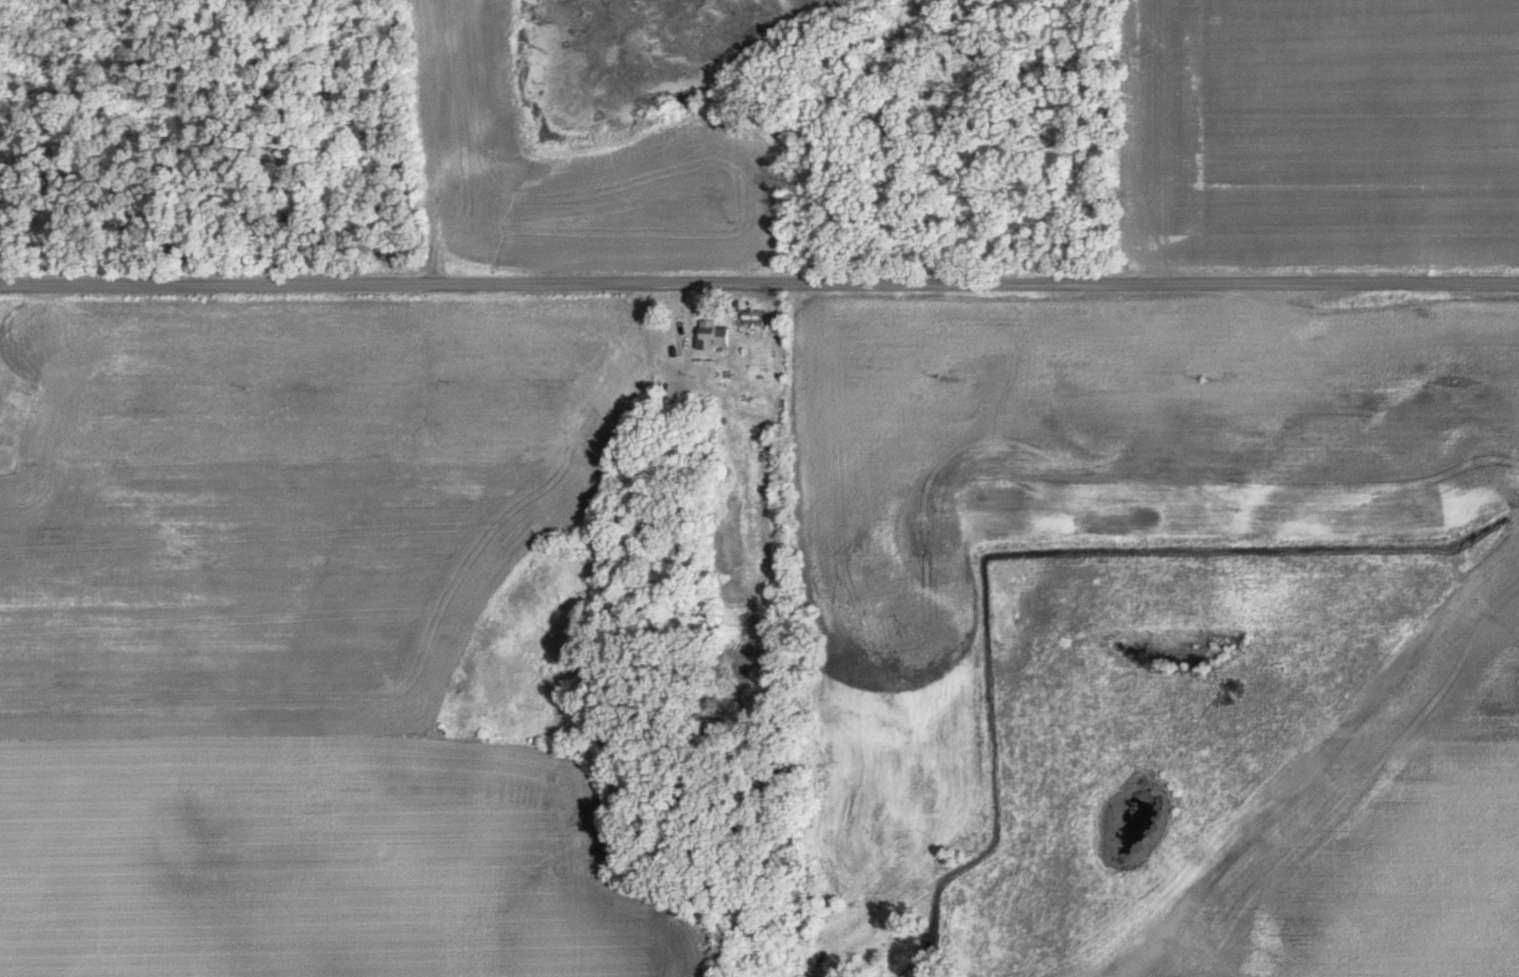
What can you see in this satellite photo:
crop: (546, 153)
road: (759, 286)
crop: (1258, 289)
building: (751, 318)
building: (711, 336)
crop: (286, 656)
crop: (1415, 832)

